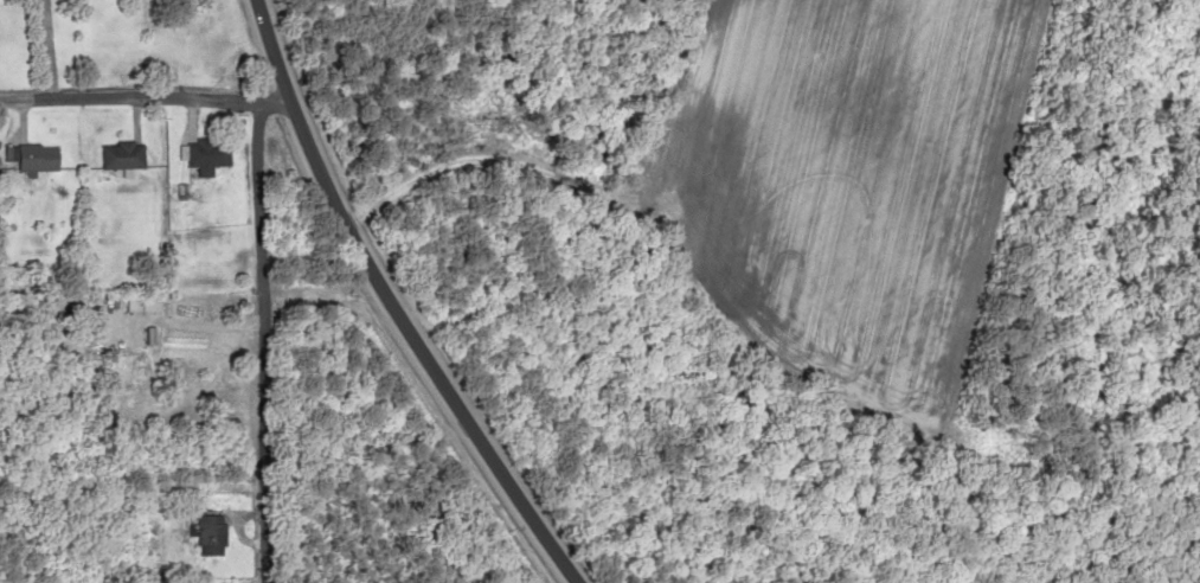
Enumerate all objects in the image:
road: (140, 96)
building: (120, 154)
building: (204, 154)
building: (33, 156)
road: (416, 297)
building: (91, 316)
road: (250, 340)
building: (208, 534)

